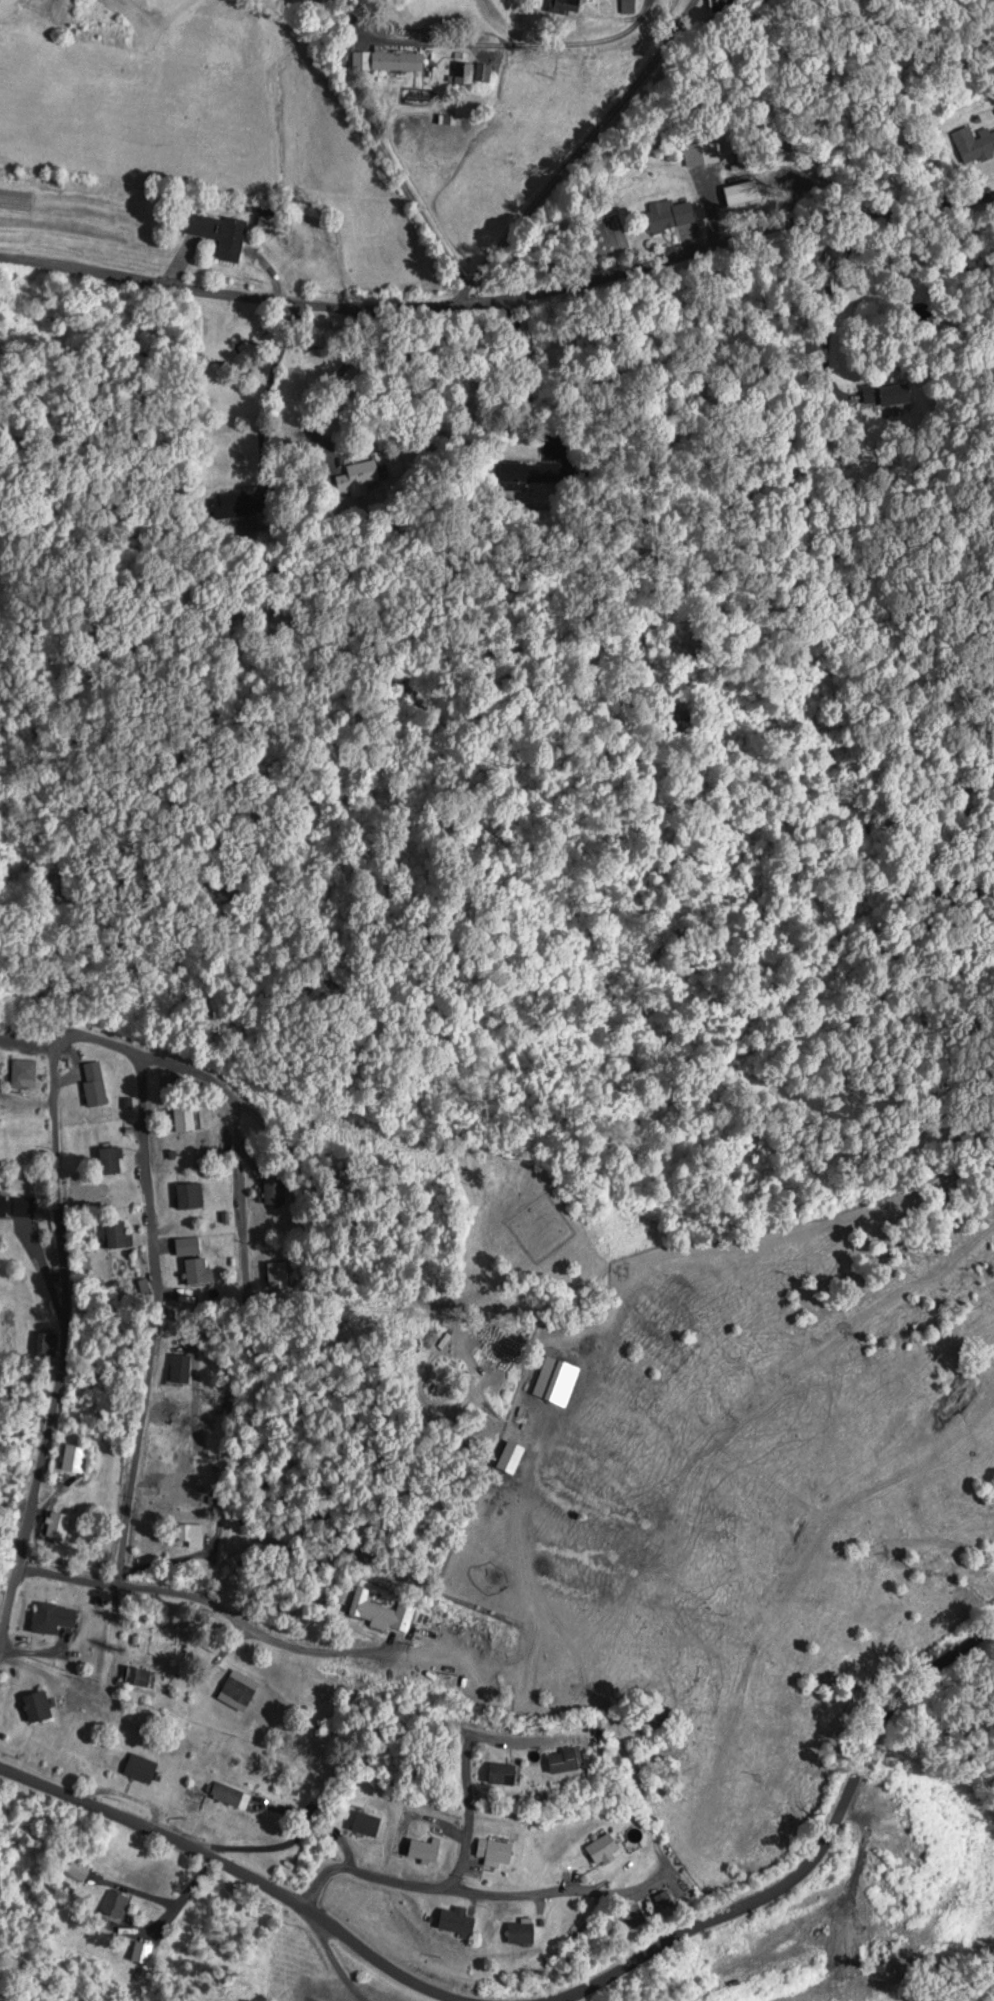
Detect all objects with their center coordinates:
building: (562, 5)
building: (722, 5)
building: (627, 6)
building: (393, 60)
road: (342, 71)
building: (482, 72)
building: (462, 73)
building: (973, 144)
building: (705, 152)
building: (668, 215)
building: (216, 233)
road: (61, 264)
road: (561, 282)
road: (154, 1059)
building: (22, 1073)
building: (93, 1088)
building: (182, 1118)
building: (109, 1161)
building: (188, 1196)
building: (16, 1207)
road: (241, 1221)
building: (117, 1235)
building: (195, 1271)
road: (157, 1319)
road: (61, 1341)
building: (179, 1370)
building: (556, 1380)
building: (72, 1458)
building: (183, 1490)
building: (54, 1526)
building: (188, 1532)
road: (205, 1603)
building: (379, 1611)
building: (52, 1618)
road: (30, 1657)
building: (141, 1677)
building: (237, 1689)
building: (35, 1706)
road: (500, 1742)
building: (565, 1759)
building: (139, 1768)
building: (502, 1773)
building: (207, 1796)
road: (457, 1811)
building: (364, 1824)
building: (602, 1849)
building: (422, 1850)
building: (493, 1850)
building: (76, 1870)
road: (800, 1870)
road: (241, 1879)
road: (478, 1888)
road: (320, 1890)
building: (112, 1905)
building: (455, 1920)
building: (519, 1932)
building: (140, 1952)

